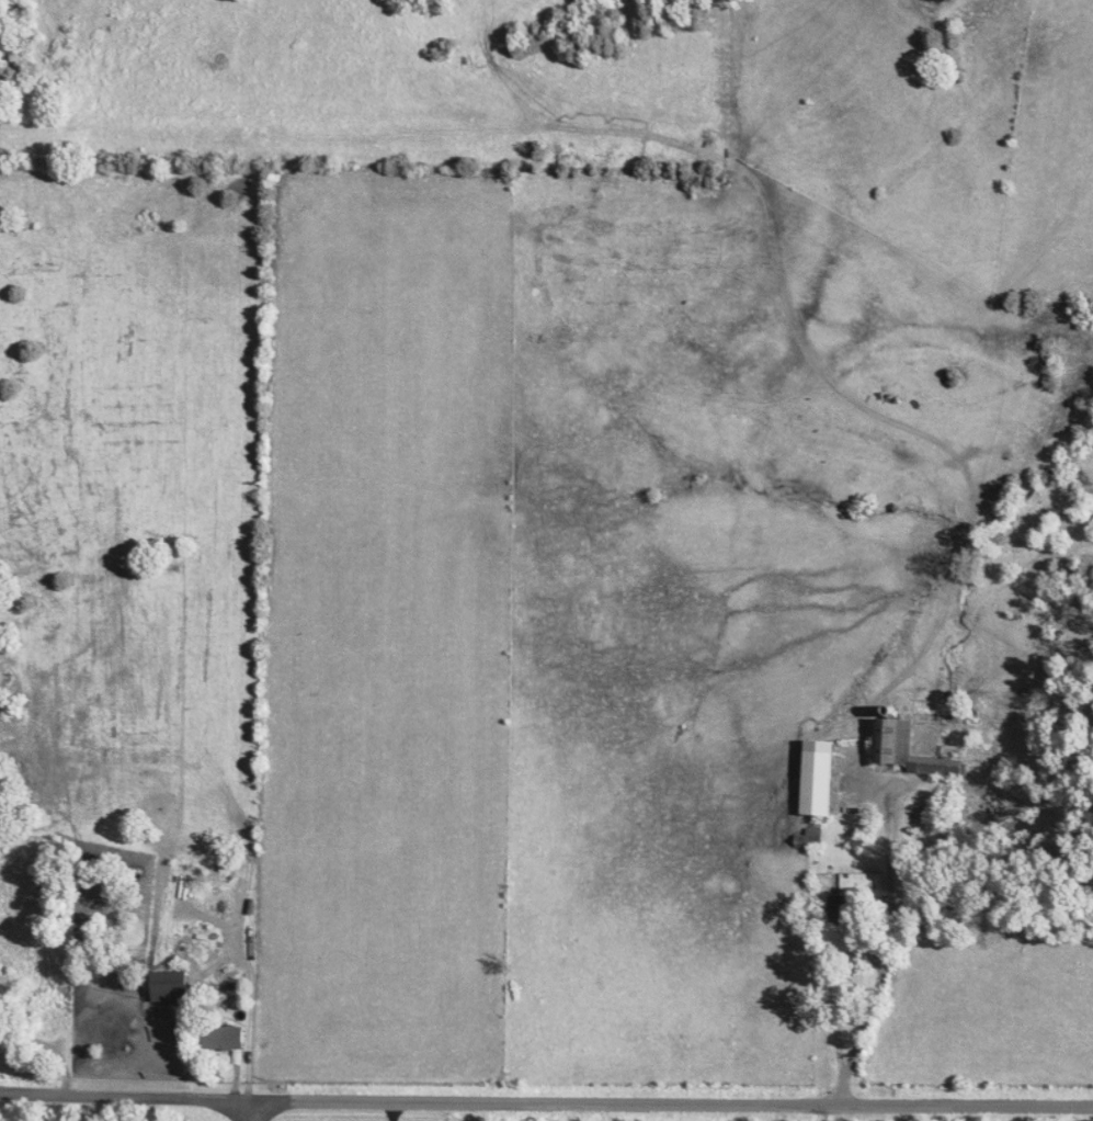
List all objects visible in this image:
building: (901, 738)
building: (824, 779)
building: (844, 905)
road: (885, 953)
building: (172, 987)
building: (227, 1040)
road: (546, 1108)
road: (255, 1113)
road: (386, 1113)

